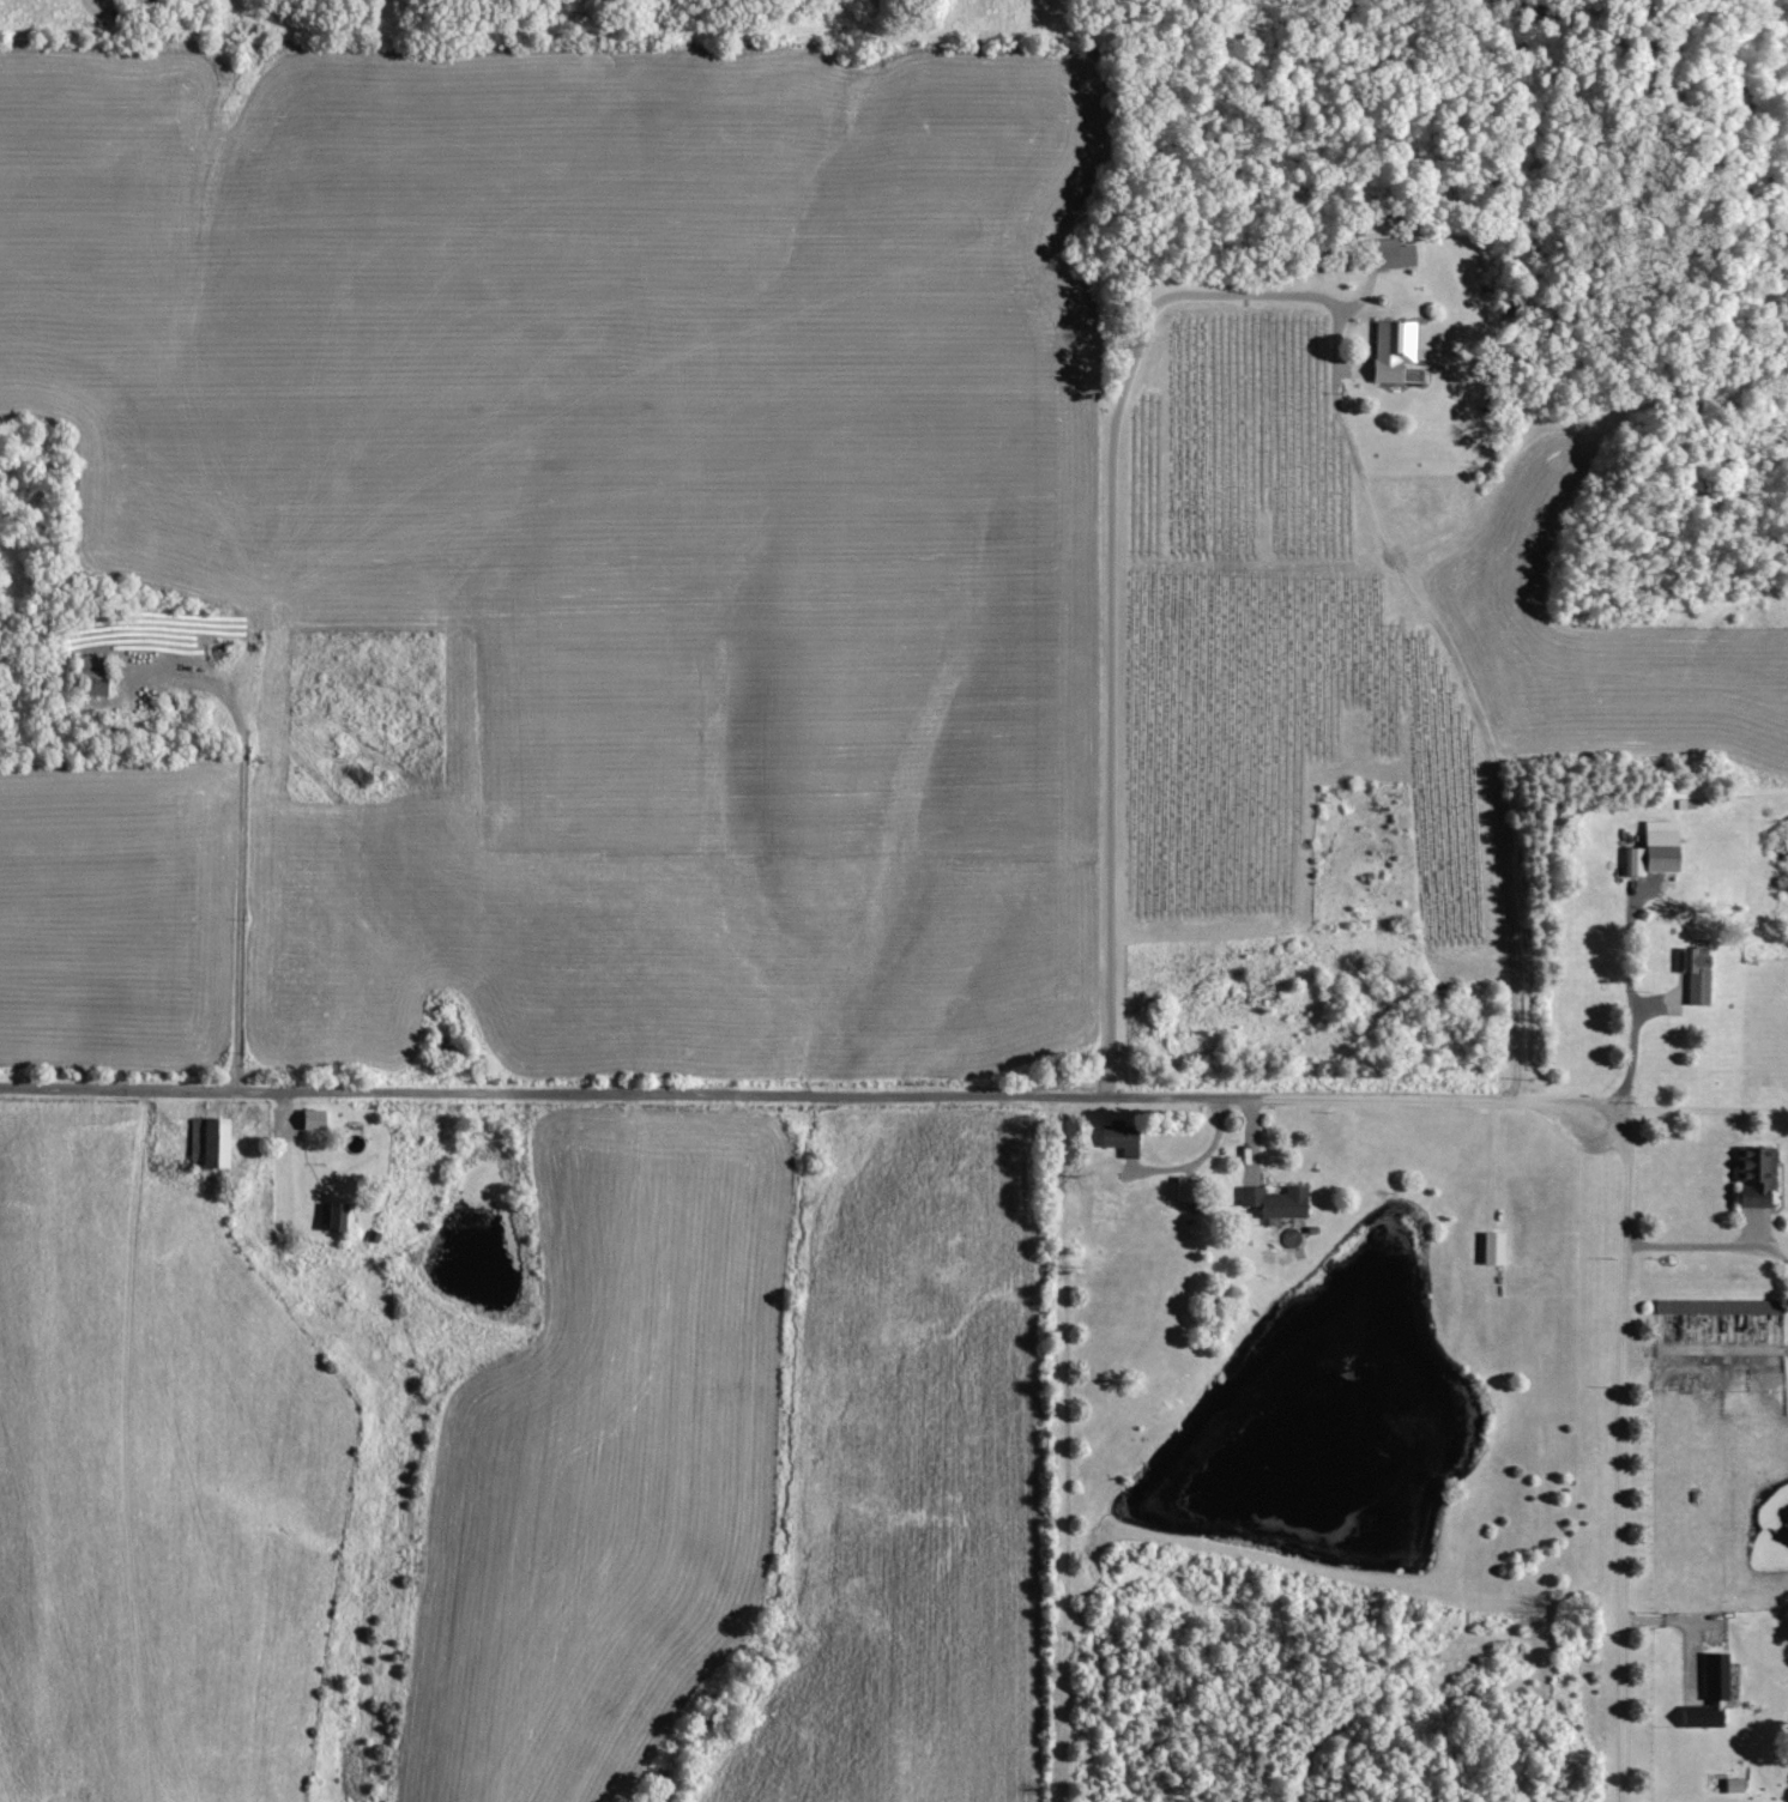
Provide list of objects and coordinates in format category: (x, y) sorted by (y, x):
building: (1378, 253)
building: (1393, 353)
road: (1107, 586)
building: (101, 673)
road: (1457, 696)
building: (1651, 849)
building: (1693, 973)
road: (1630, 1009)
road: (804, 1083)
building: (321, 1119)
building: (1118, 1138)
building: (217, 1143)
building: (1751, 1177)
building: (1184, 1187)
building: (1273, 1202)
building: (345, 1217)
road: (1709, 1247)
building: (1490, 1248)
road: (1624, 1457)
building: (1714, 1675)
building: (1702, 1715)

